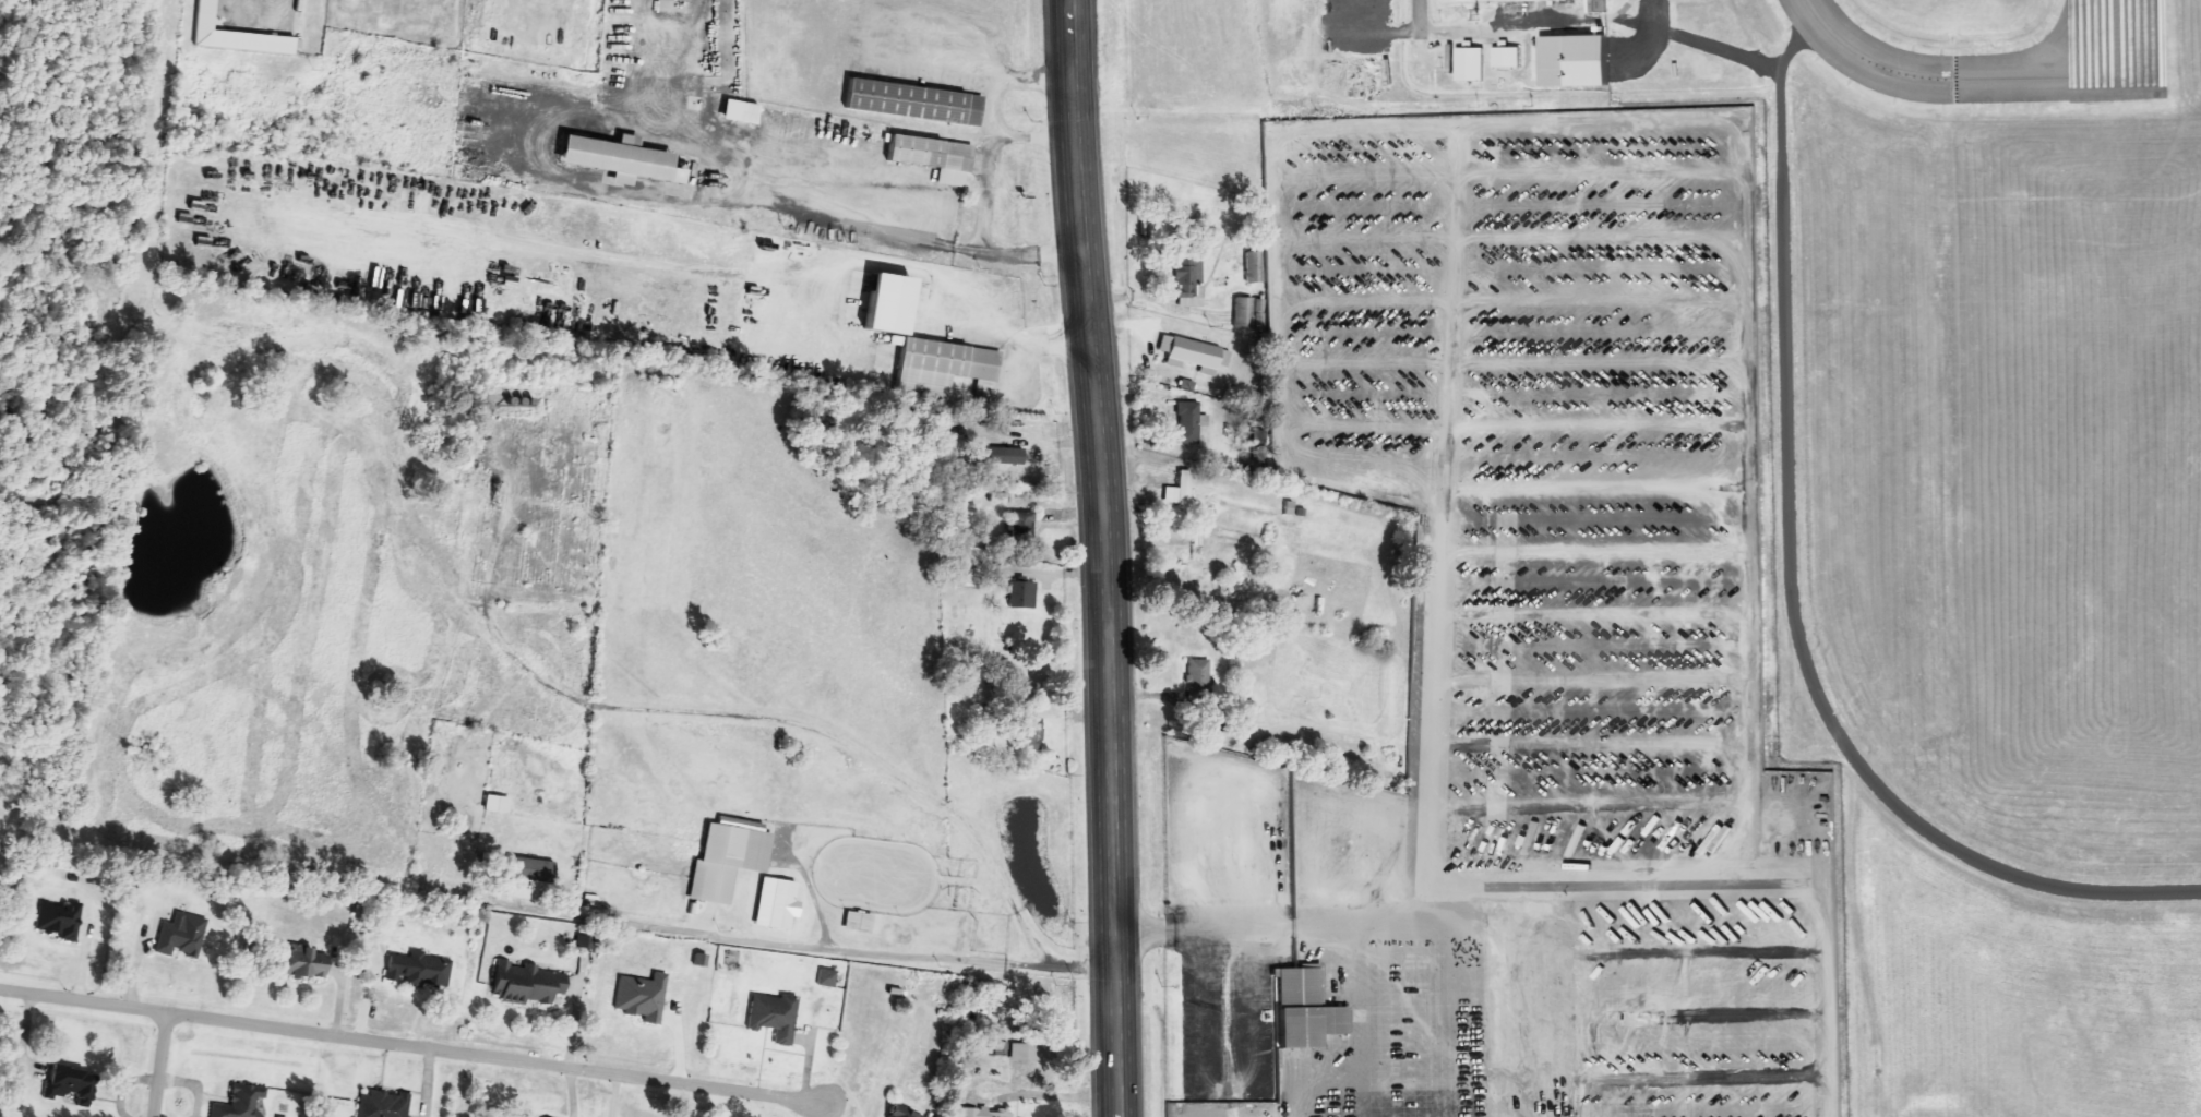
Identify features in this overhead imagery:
building: (1508, 0)
building: (680, 1)
building: (1595, 5)
road: (1419, 16)
road: (1459, 32)
building: (234, 34)
airport runway: (2116, 48)
building: (1505, 58)
building: (1468, 64)
airport taxiway: (1946, 80)
building: (913, 101)
building: (778, 117)
building: (931, 155)
building: (614, 156)
building: (1252, 267)
building: (1187, 283)
road: (124, 295)
building: (1246, 313)
building: (1191, 353)
building: (943, 368)
building: (1186, 420)
building: (1010, 441)
building: (1176, 491)
airport: (1985, 518)
building: (1019, 525)
building: (1201, 551)
road: (1102, 557)
building: (1020, 594)
building: (1197, 680)
building: (1028, 725)
building: (501, 805)
building: (517, 840)
building: (727, 857)
building: (526, 874)
building: (779, 903)
building: (57, 920)
building: (857, 921)
building: (179, 934)
building: (588, 941)
building: (300, 961)
building: (418, 970)
building: (825, 977)
building: (526, 983)
building: (645, 996)
road: (83, 999)
building: (1300, 1010)
building: (771, 1014)
building: (1028, 1052)
road: (495, 1057)
road: (159, 1064)
building: (69, 1083)
building: (238, 1102)
building: (381, 1104)
building: (900, 1112)
building: (984, 1113)

